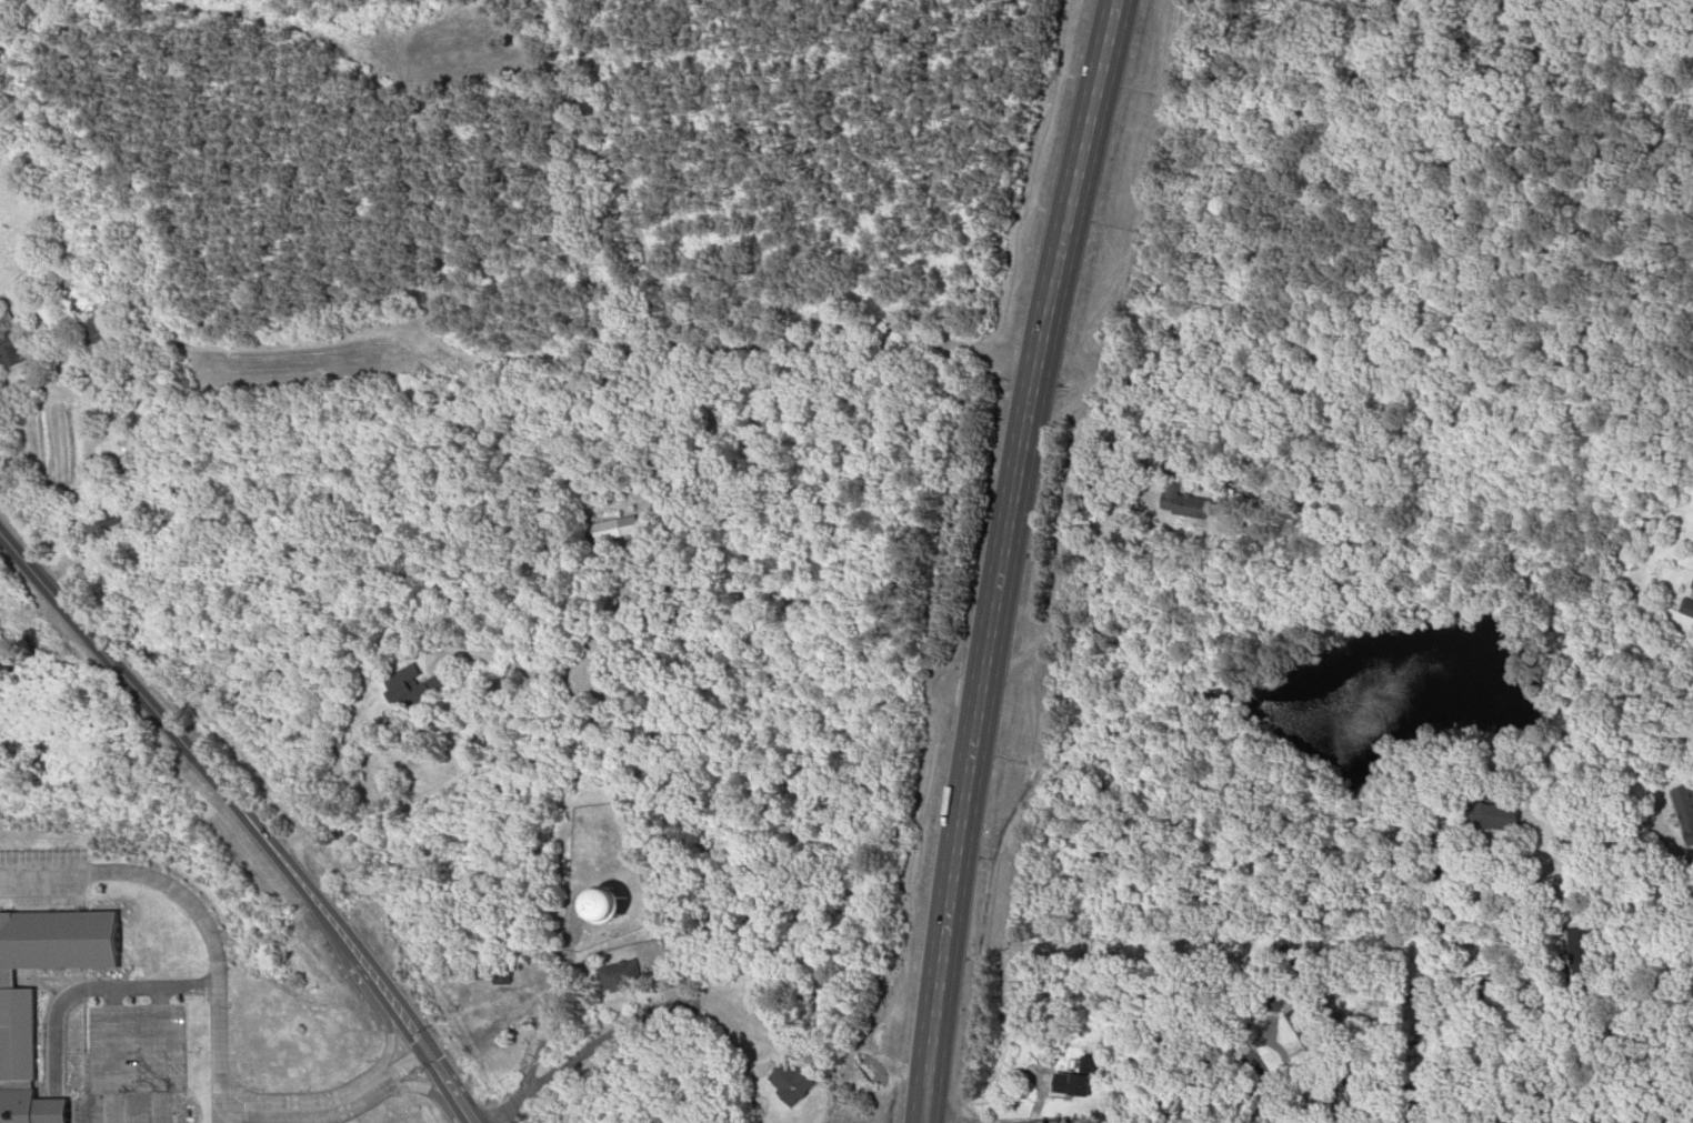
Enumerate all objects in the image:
road: (628, 179)
building: (90, 331)
road: (1042, 333)
building: (7, 351)
building: (103, 389)
building: (130, 450)
building: (1190, 500)
building: (101, 525)
building: (610, 531)
building: (1687, 598)
building: (415, 685)
building: (1681, 809)
building: (1490, 818)
road: (246, 820)
road: (948, 895)
building: (601, 906)
road: (193, 908)
water tower: (602, 910)
road: (1211, 947)
building: (1577, 955)
building: (617, 975)
building: (500, 976)
road: (90, 989)
road: (654, 1007)
road: (545, 1017)
building: (1298, 1021)
road: (1244, 1034)
building: (16, 1039)
building: (1084, 1064)
building: (790, 1082)
building: (1069, 1083)
building: (1356, 1095)
road: (328, 1103)
road: (219, 1115)
road: (1676, 1120)
road: (926, 1122)

